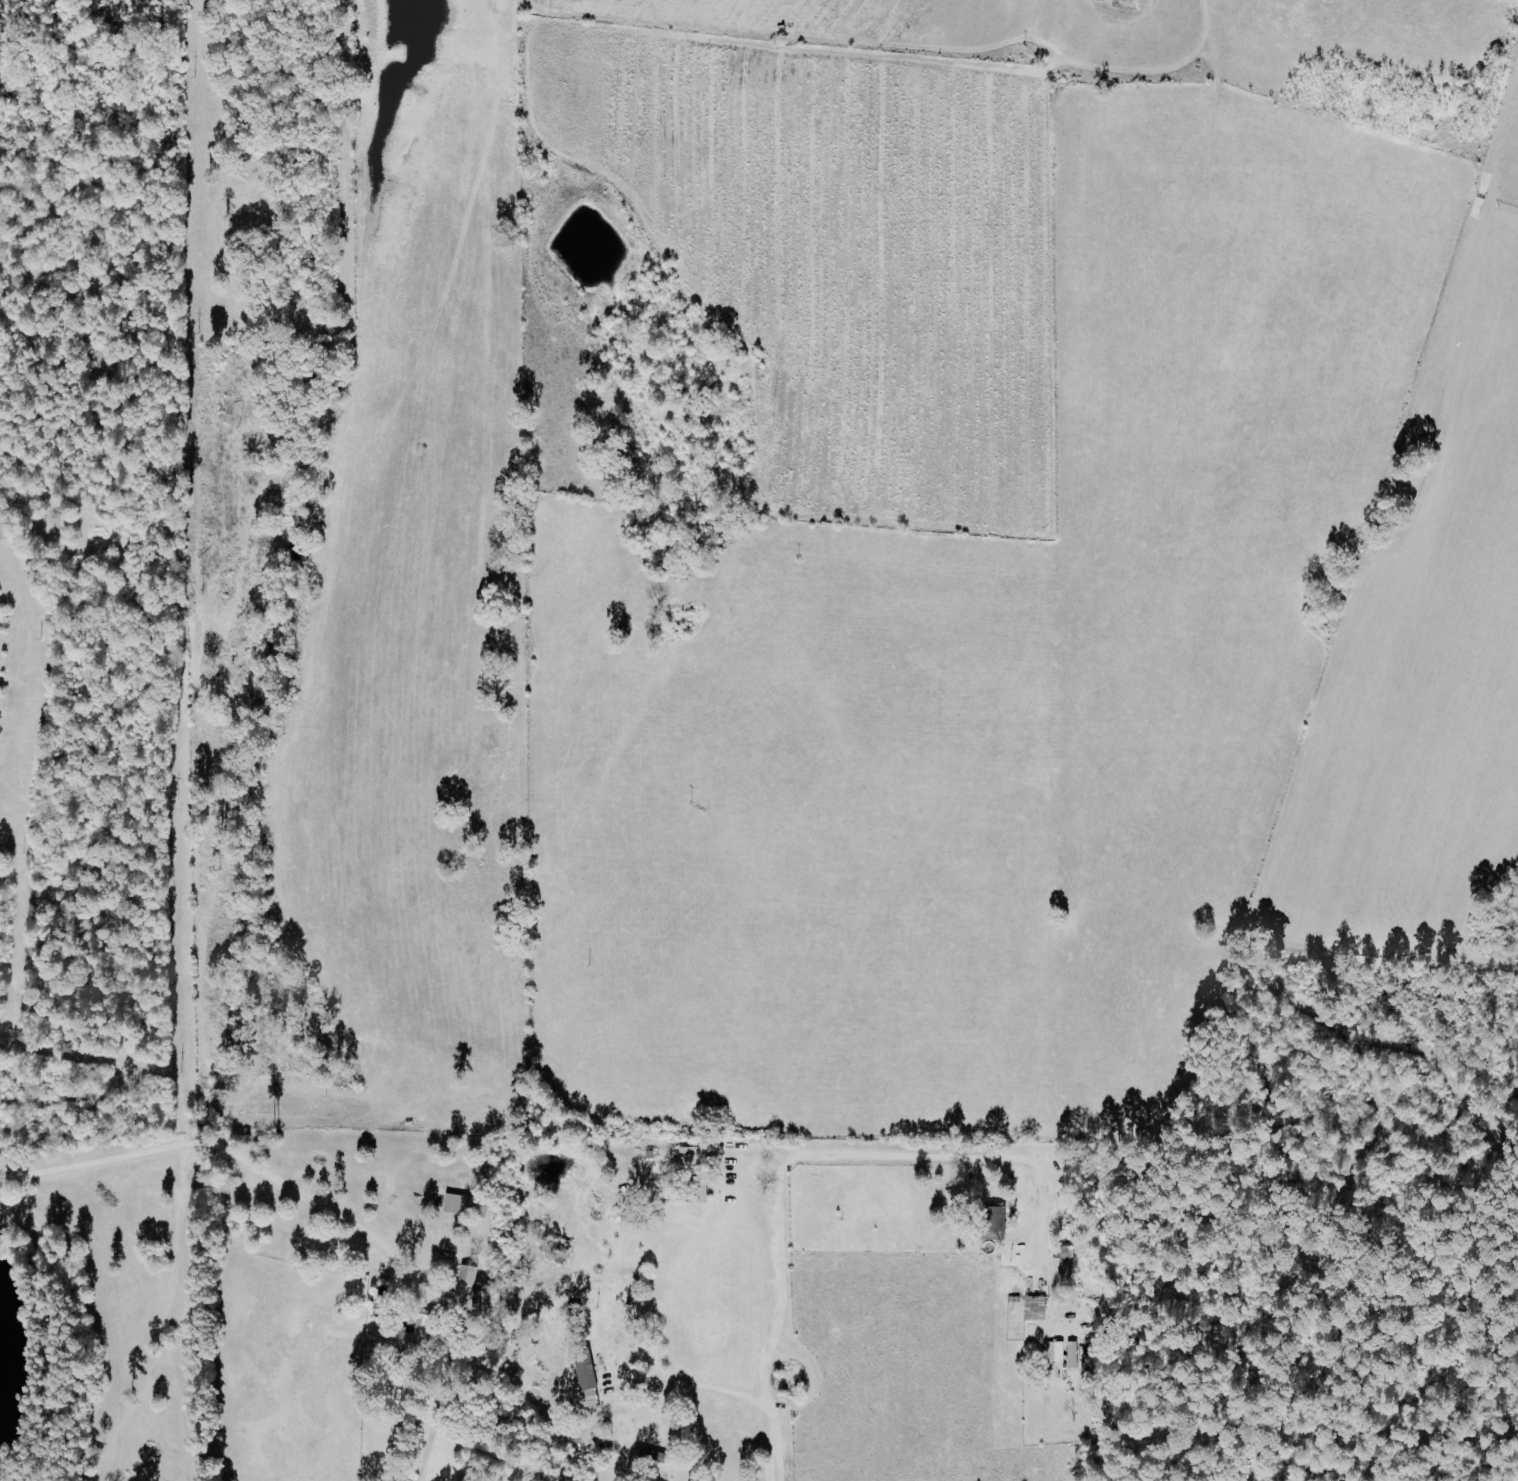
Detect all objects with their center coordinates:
building: (3, 527)
road: (231, 1152)
road: (822, 1154)
building: (690, 1157)
building: (467, 1205)
building: (998, 1218)
building: (1066, 1252)
building: (467, 1287)
building: (1036, 1308)
building: (417, 1334)
building: (1057, 1351)
building: (1074, 1355)
building: (589, 1382)
road: (746, 1400)
building: (657, 1457)

